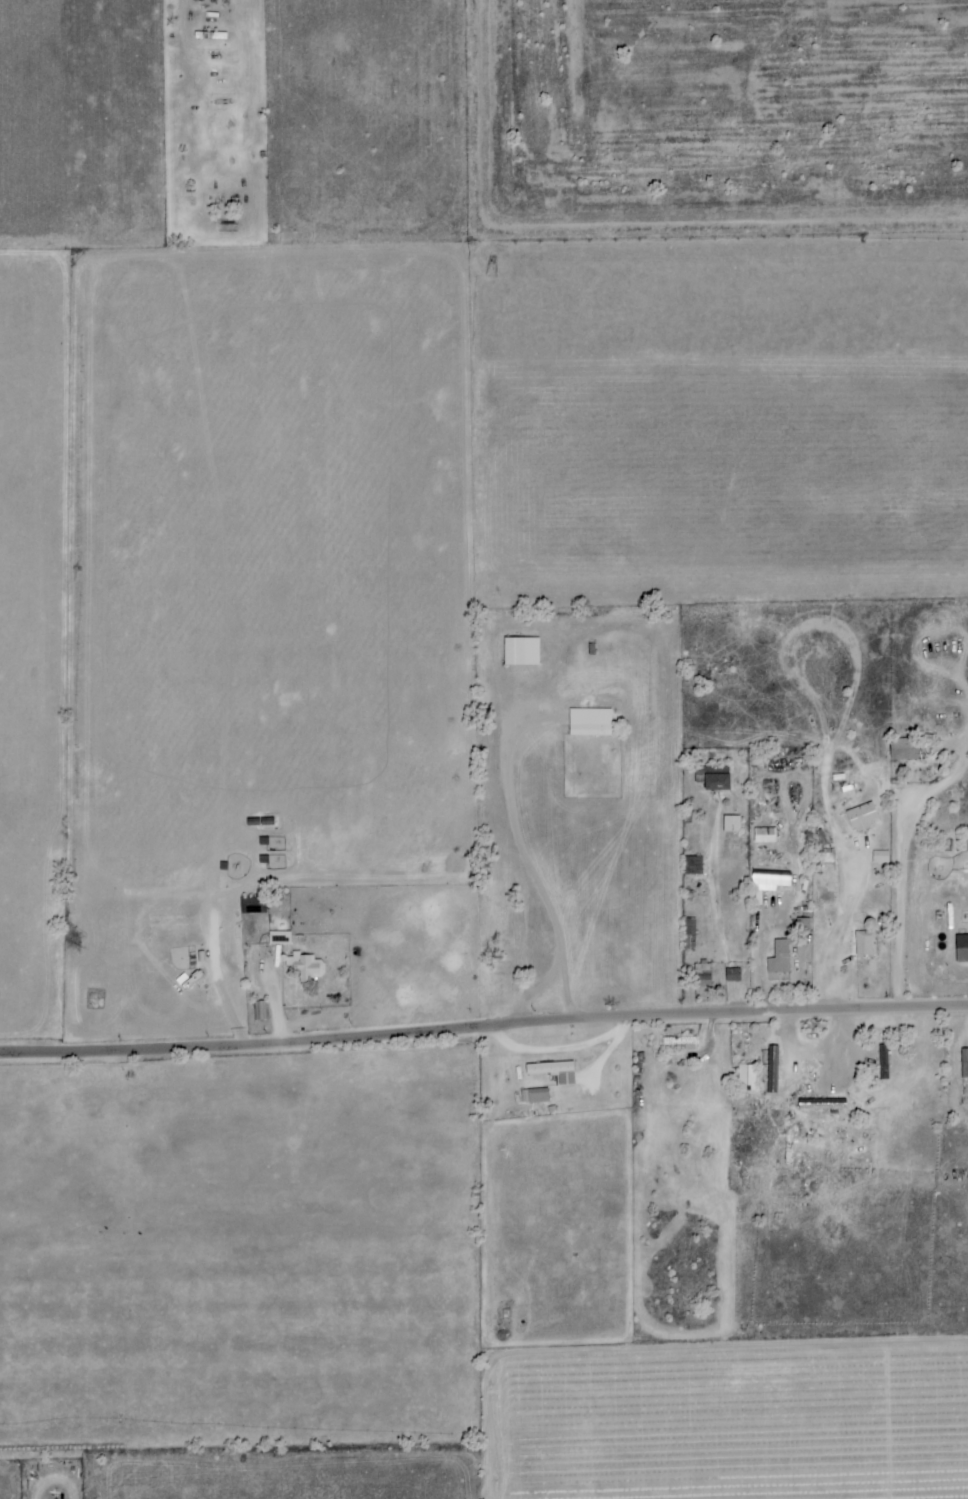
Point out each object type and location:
building: (520, 652)
building: (589, 722)
building: (903, 749)
building: (715, 779)
building: (861, 817)
building: (731, 824)
building: (764, 836)
building: (967, 838)
road: (523, 854)
building: (880, 857)
building: (692, 866)
building: (769, 880)
road: (907, 912)
building: (688, 927)
road: (753, 933)
building: (279, 938)
building: (865, 944)
building: (961, 949)
building: (778, 958)
building: (305, 967)
building: (732, 975)
building: (702, 976)
road: (276, 988)
building: (259, 1011)
road: (483, 1027)
building: (964, 1063)
building: (553, 1072)
building: (746, 1077)
building: (537, 1096)
building: (822, 1105)

